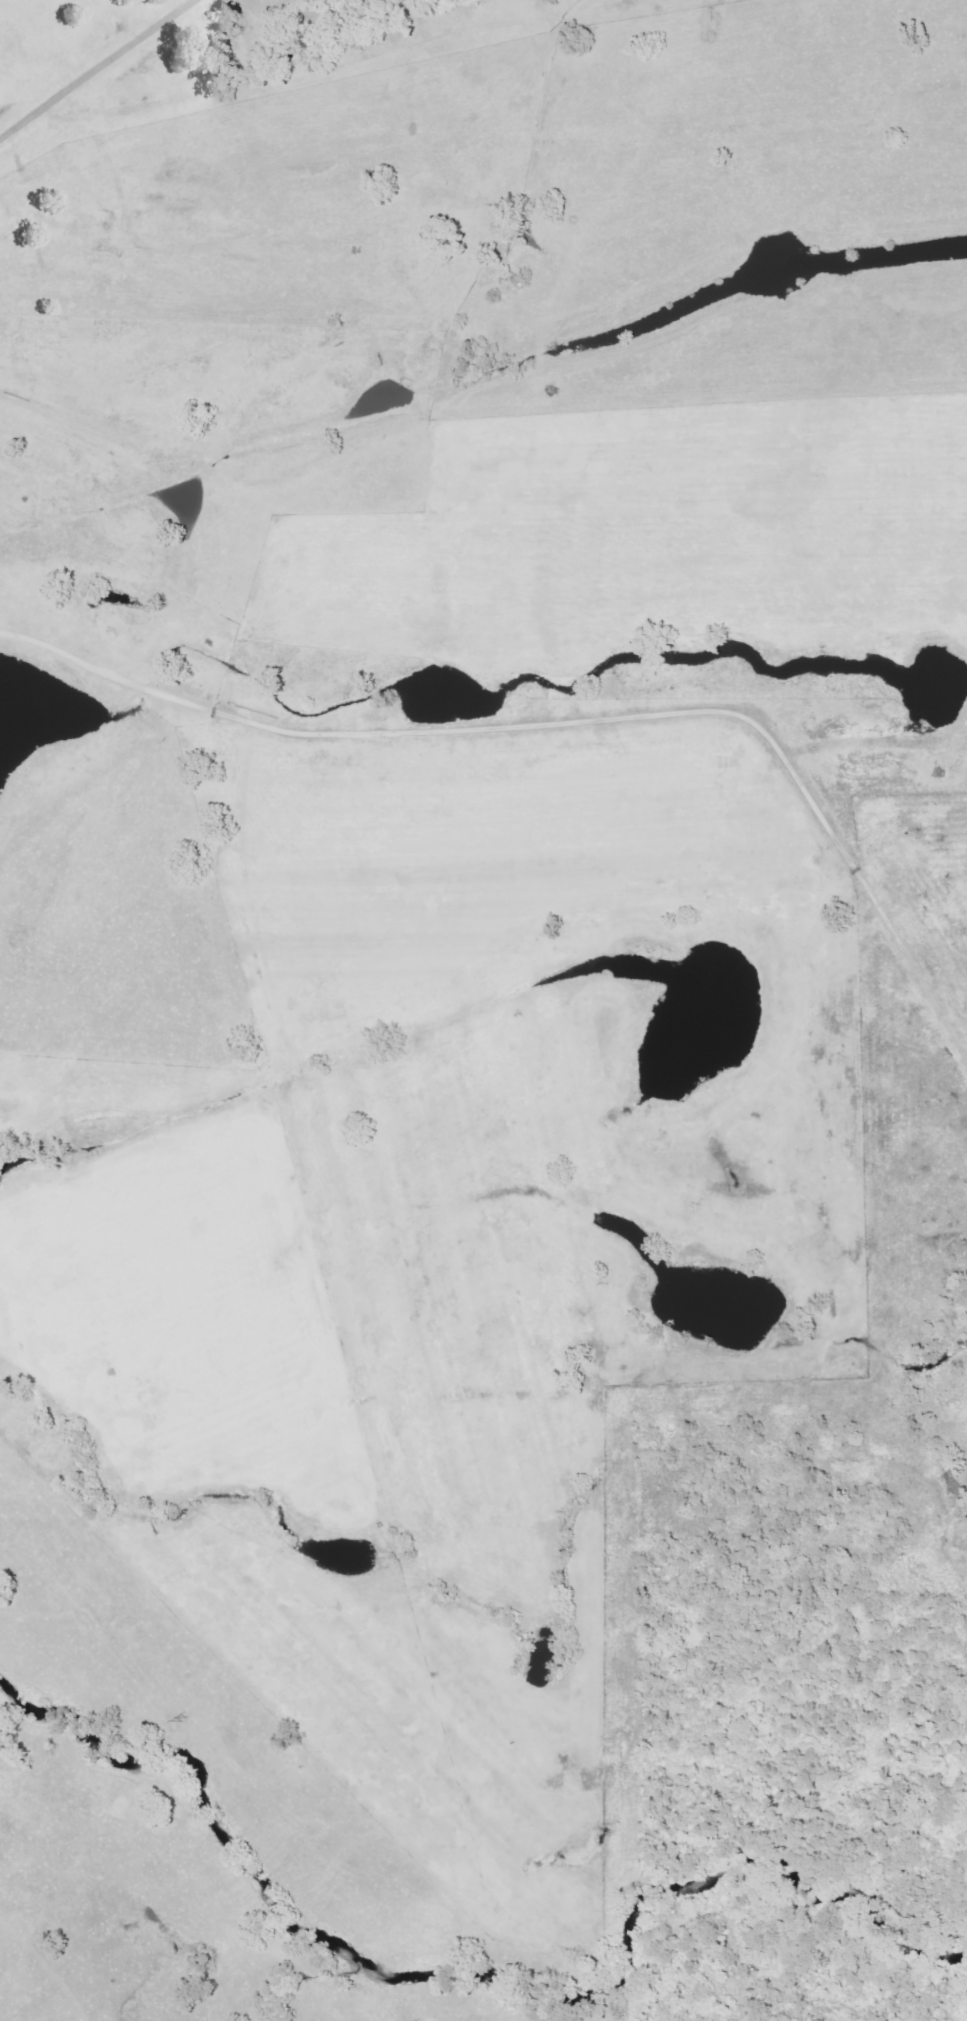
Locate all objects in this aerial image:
power tower: (184, 1723)

